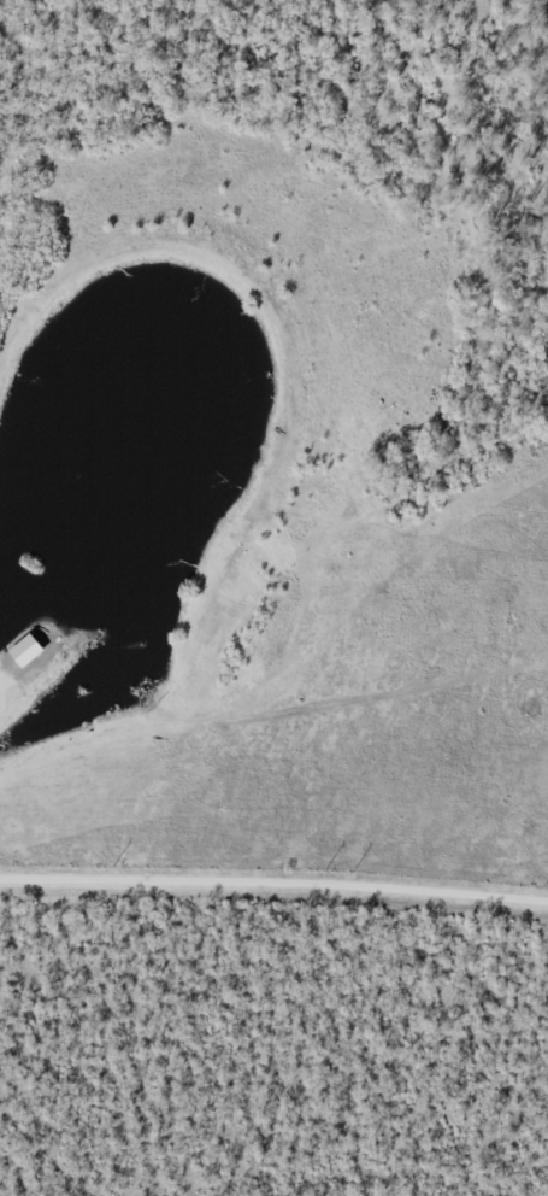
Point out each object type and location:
road: (273, 883)

